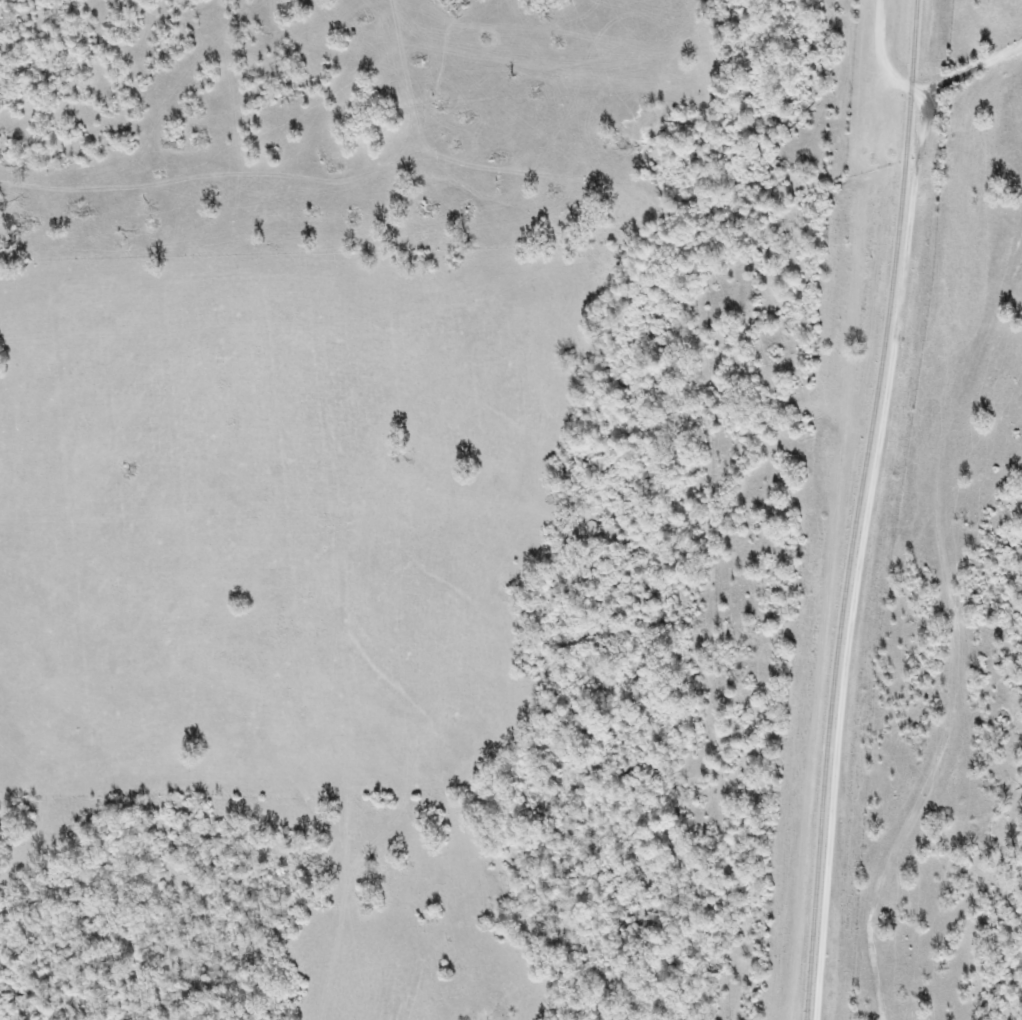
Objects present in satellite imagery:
road: (881, 22)
road: (973, 71)
road: (890, 78)
railway: (881, 366)
railway: (855, 387)
road: (857, 554)
railway: (818, 875)

